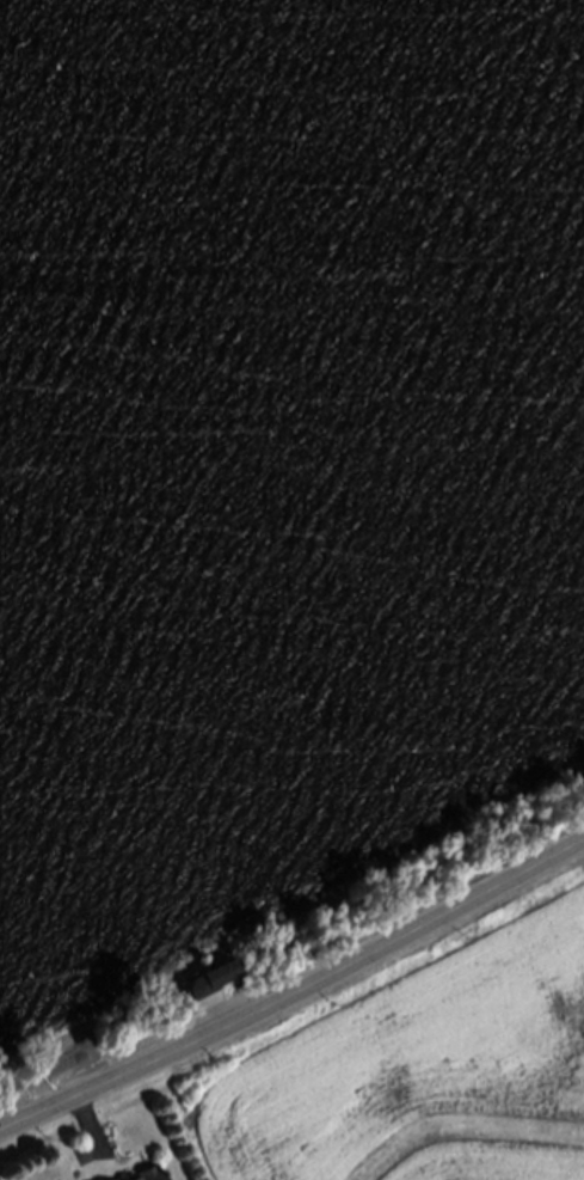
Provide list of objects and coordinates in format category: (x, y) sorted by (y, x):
building: (213, 978)
road: (296, 995)
crop: (413, 1060)
building: (154, 1176)

